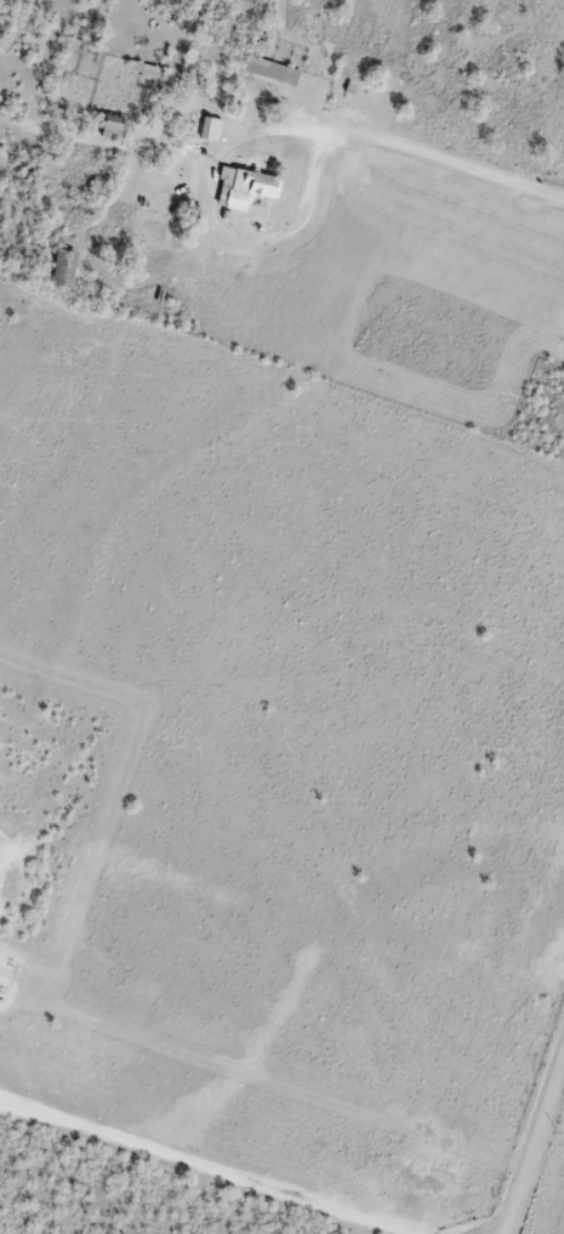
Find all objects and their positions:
building: (270, 72)
building: (210, 126)
building: (114, 128)
road: (268, 148)
building: (245, 188)
building: (65, 266)
road: (531, 1134)

